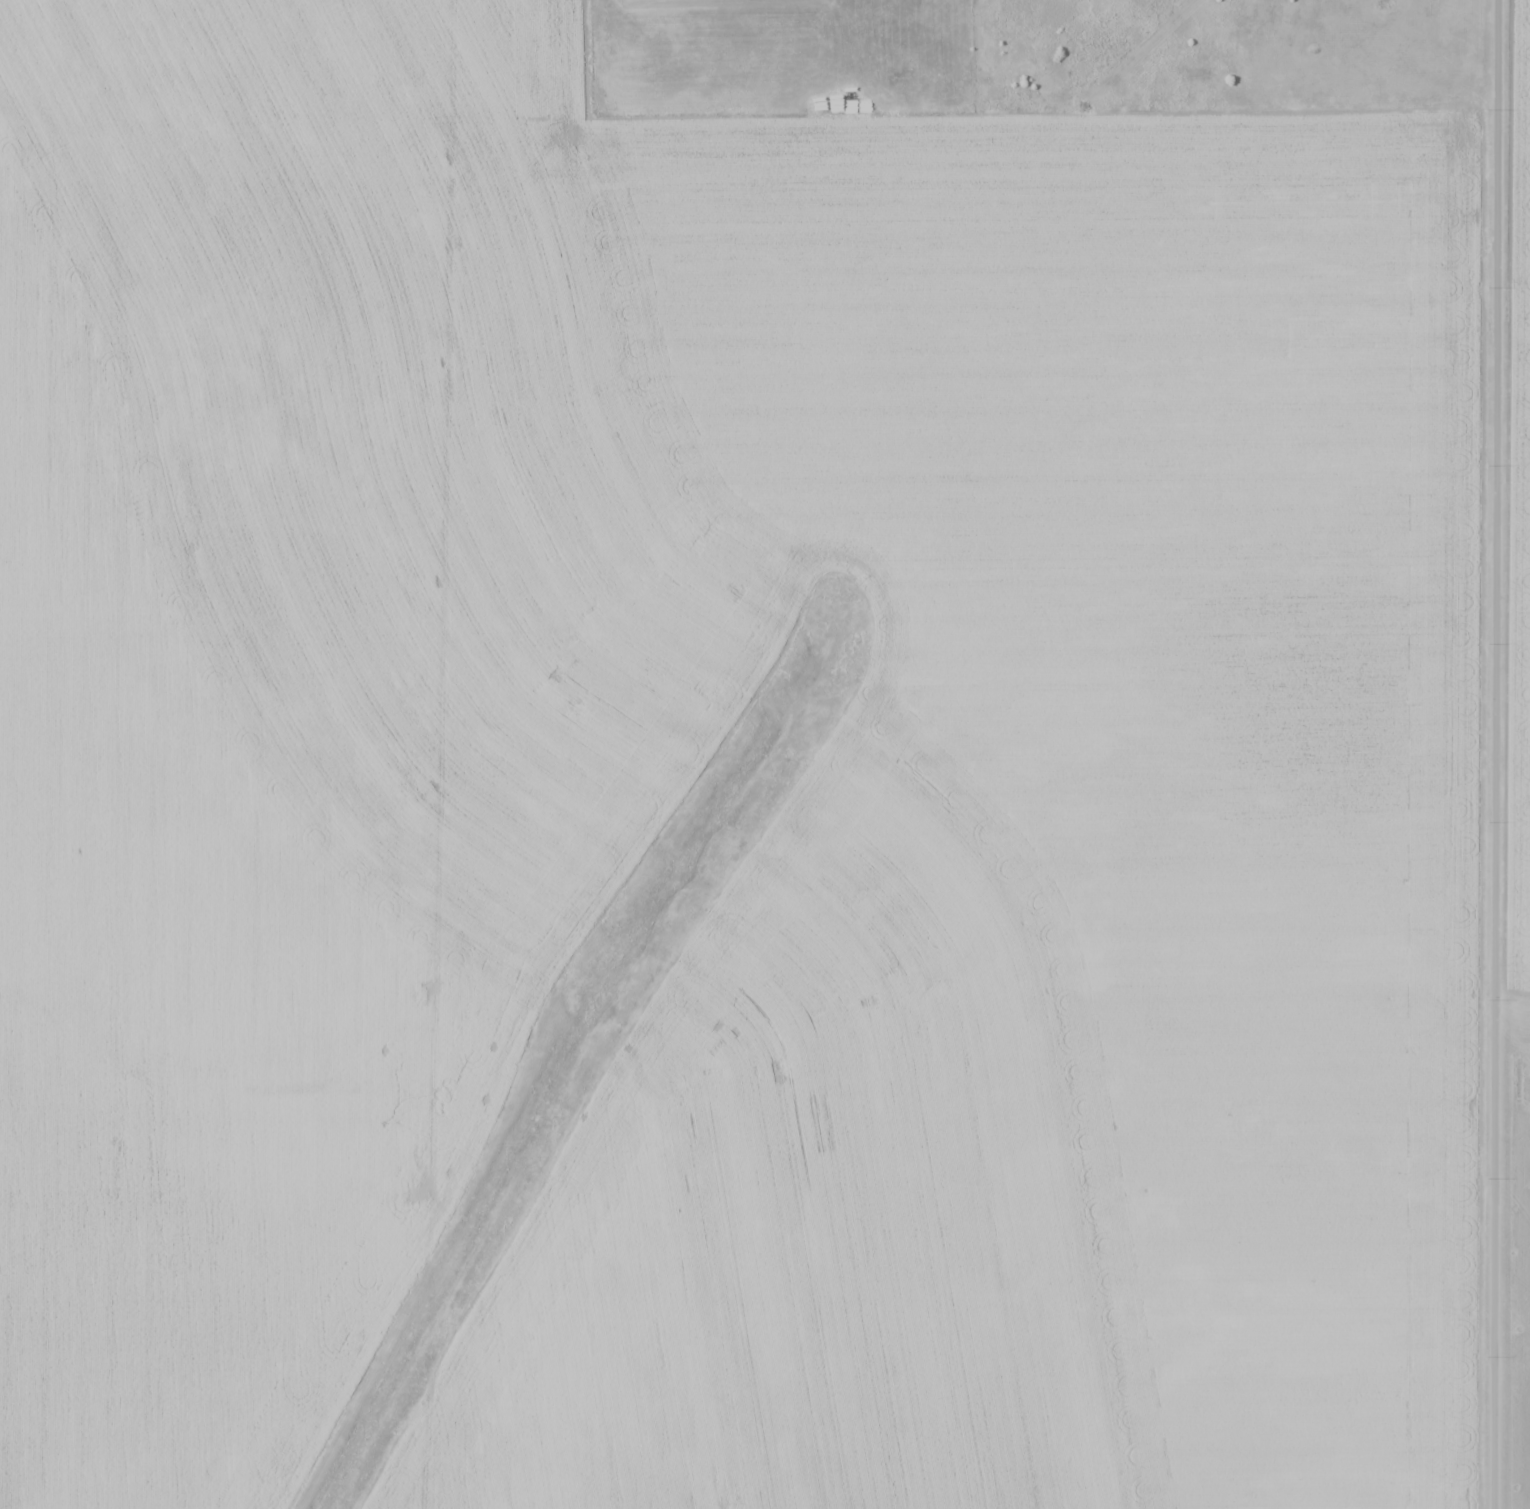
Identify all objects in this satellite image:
road: (1495, 754)

